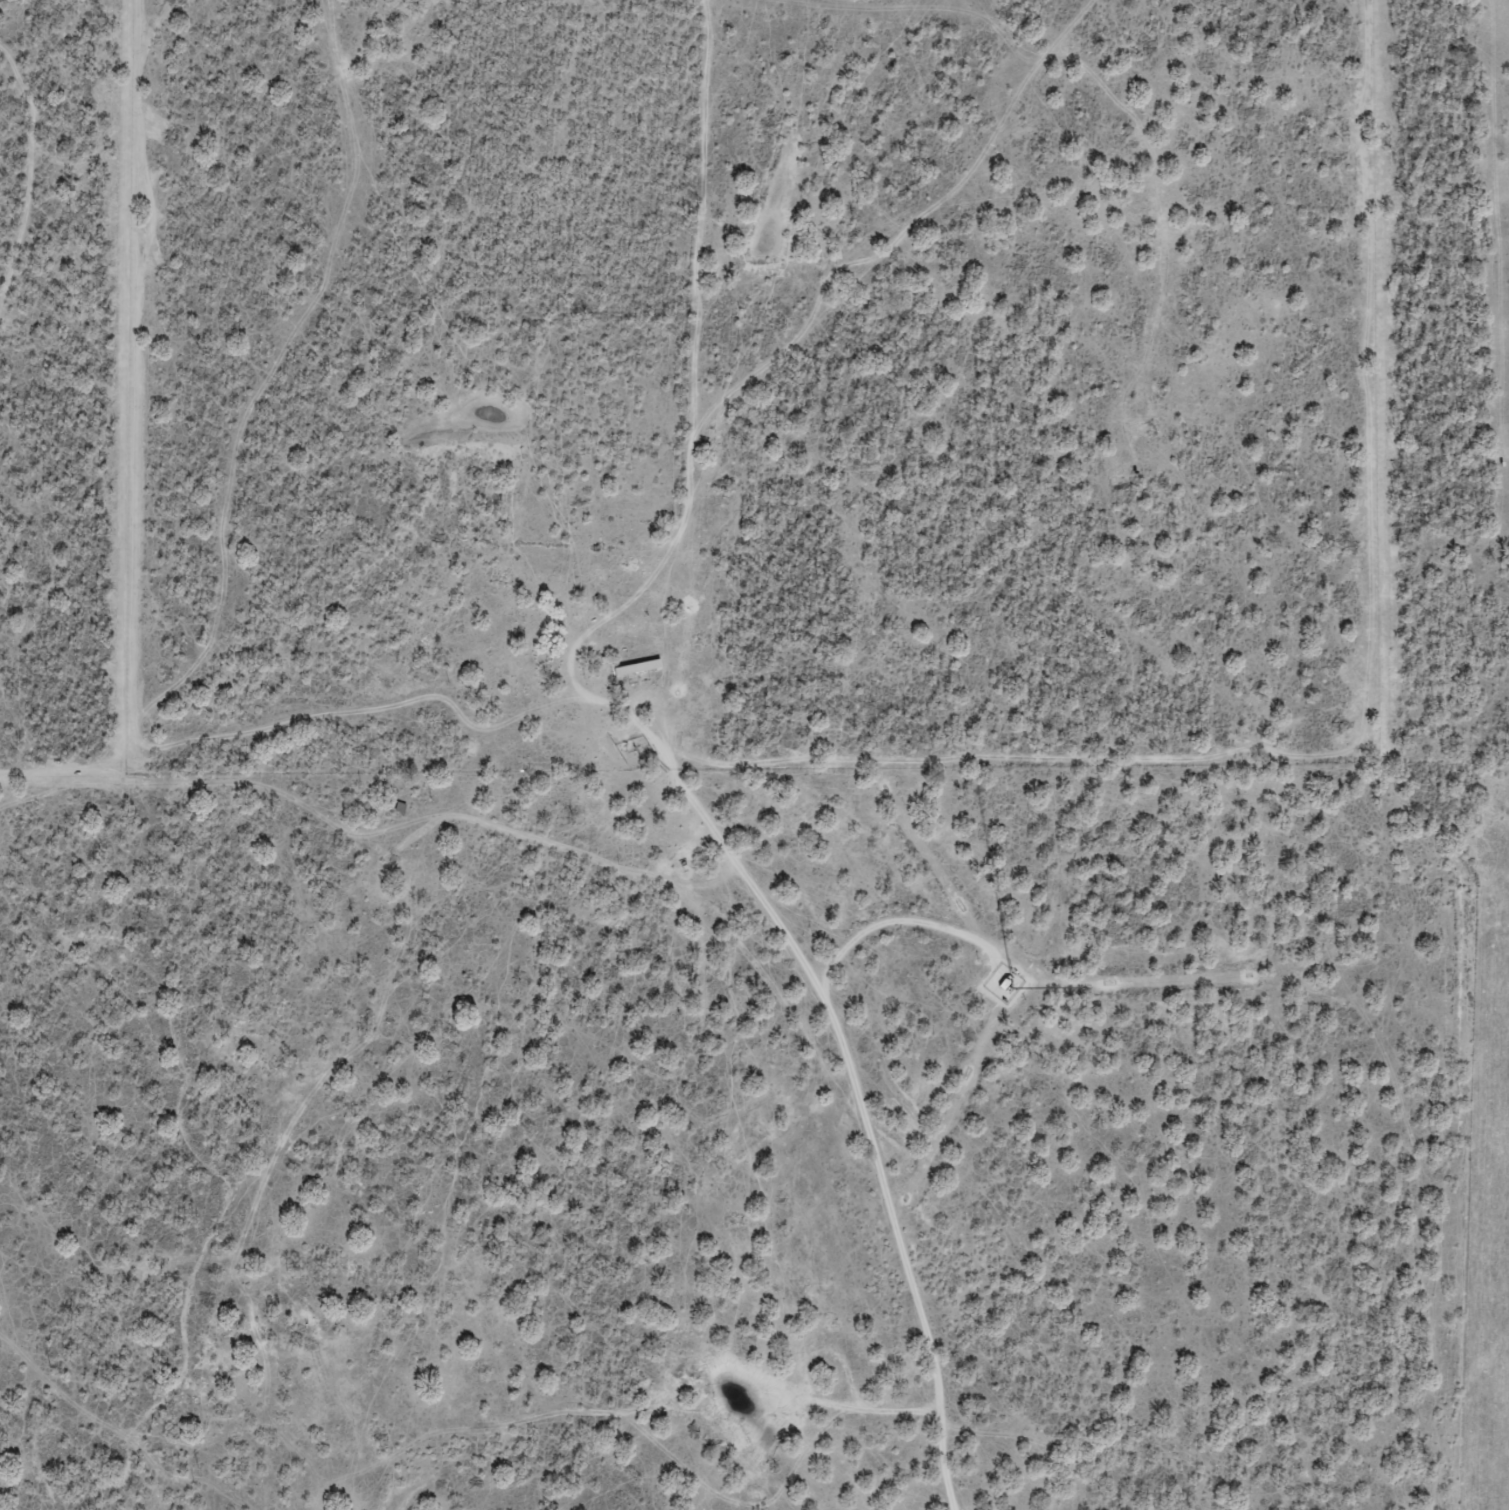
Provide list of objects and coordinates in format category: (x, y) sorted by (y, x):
building: (639, 669)
road: (853, 1090)

